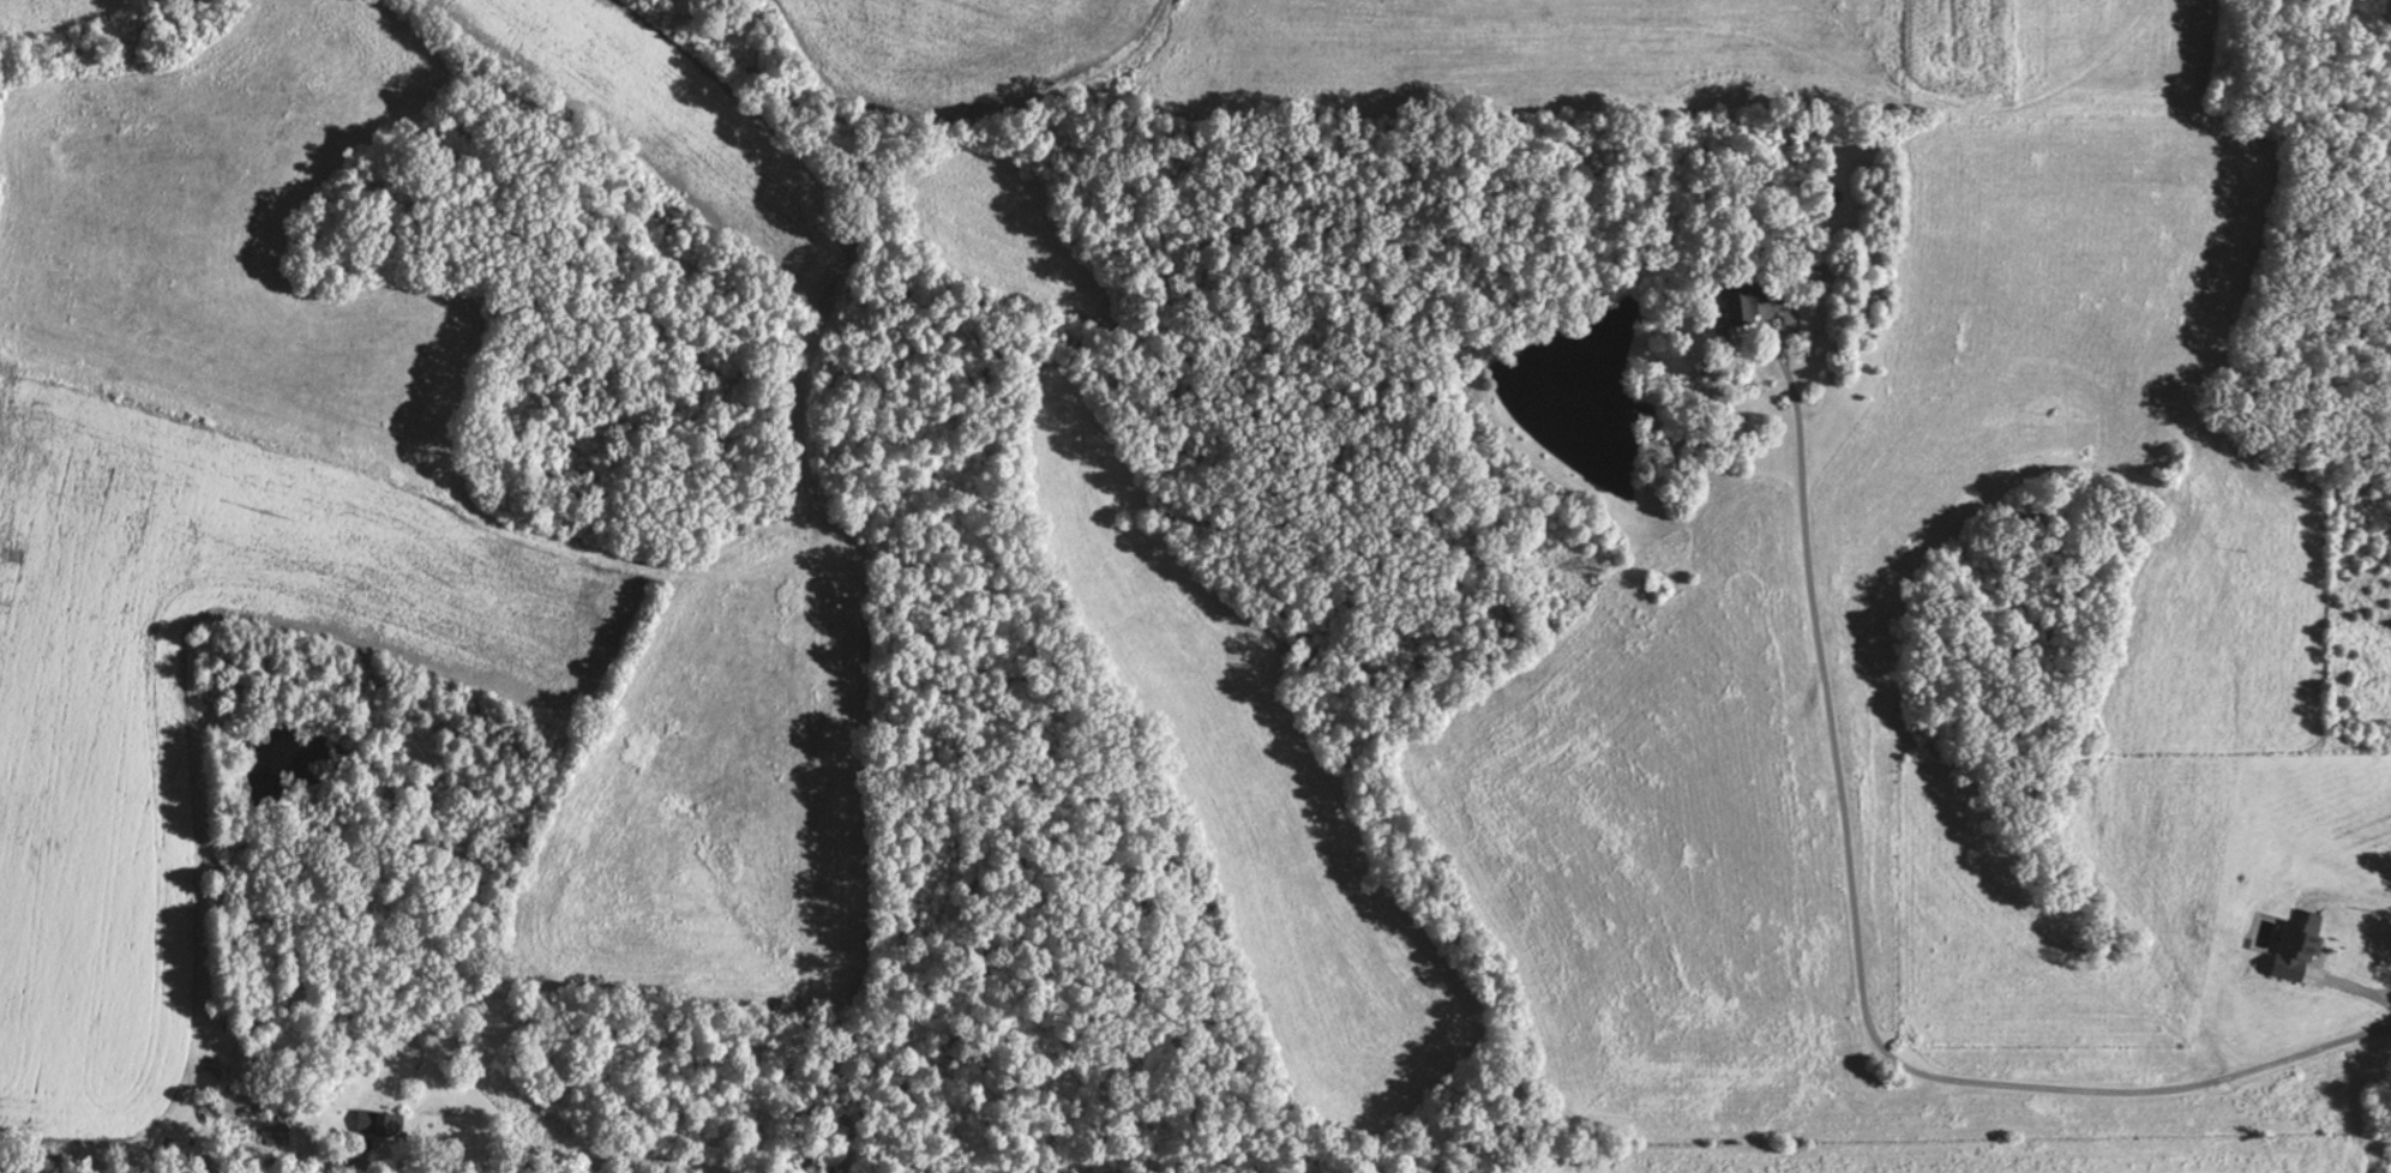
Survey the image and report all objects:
building: (1746, 300)
road: (1537, 765)
building: (2289, 951)
road: (1863, 966)
building: (236, 1103)
building: (382, 1123)
road: (2113, 1143)

